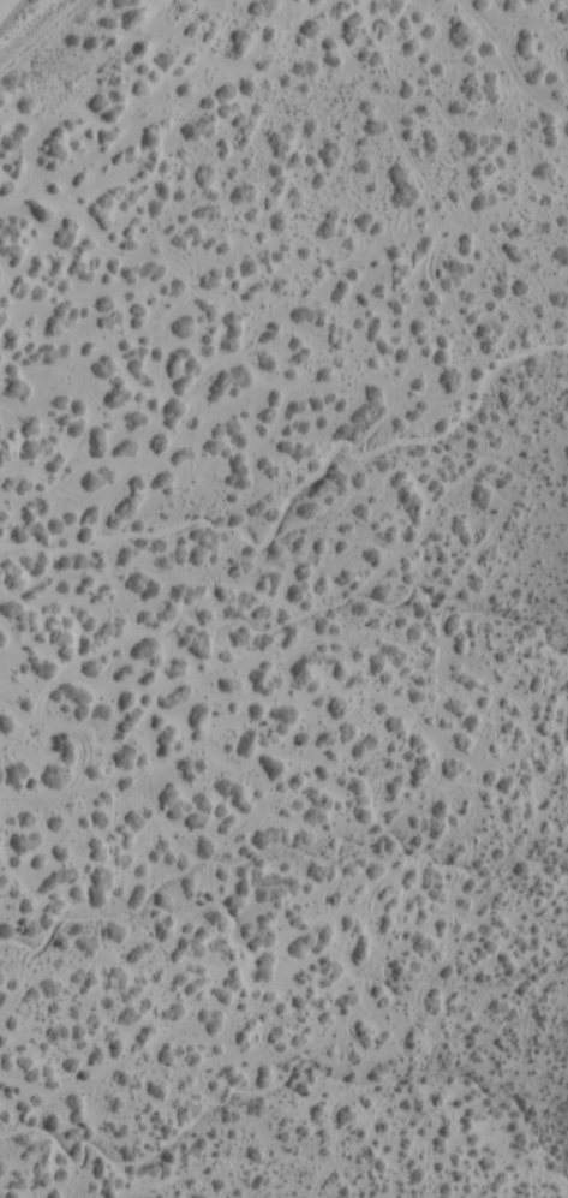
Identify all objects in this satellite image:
road: (4, 4)

